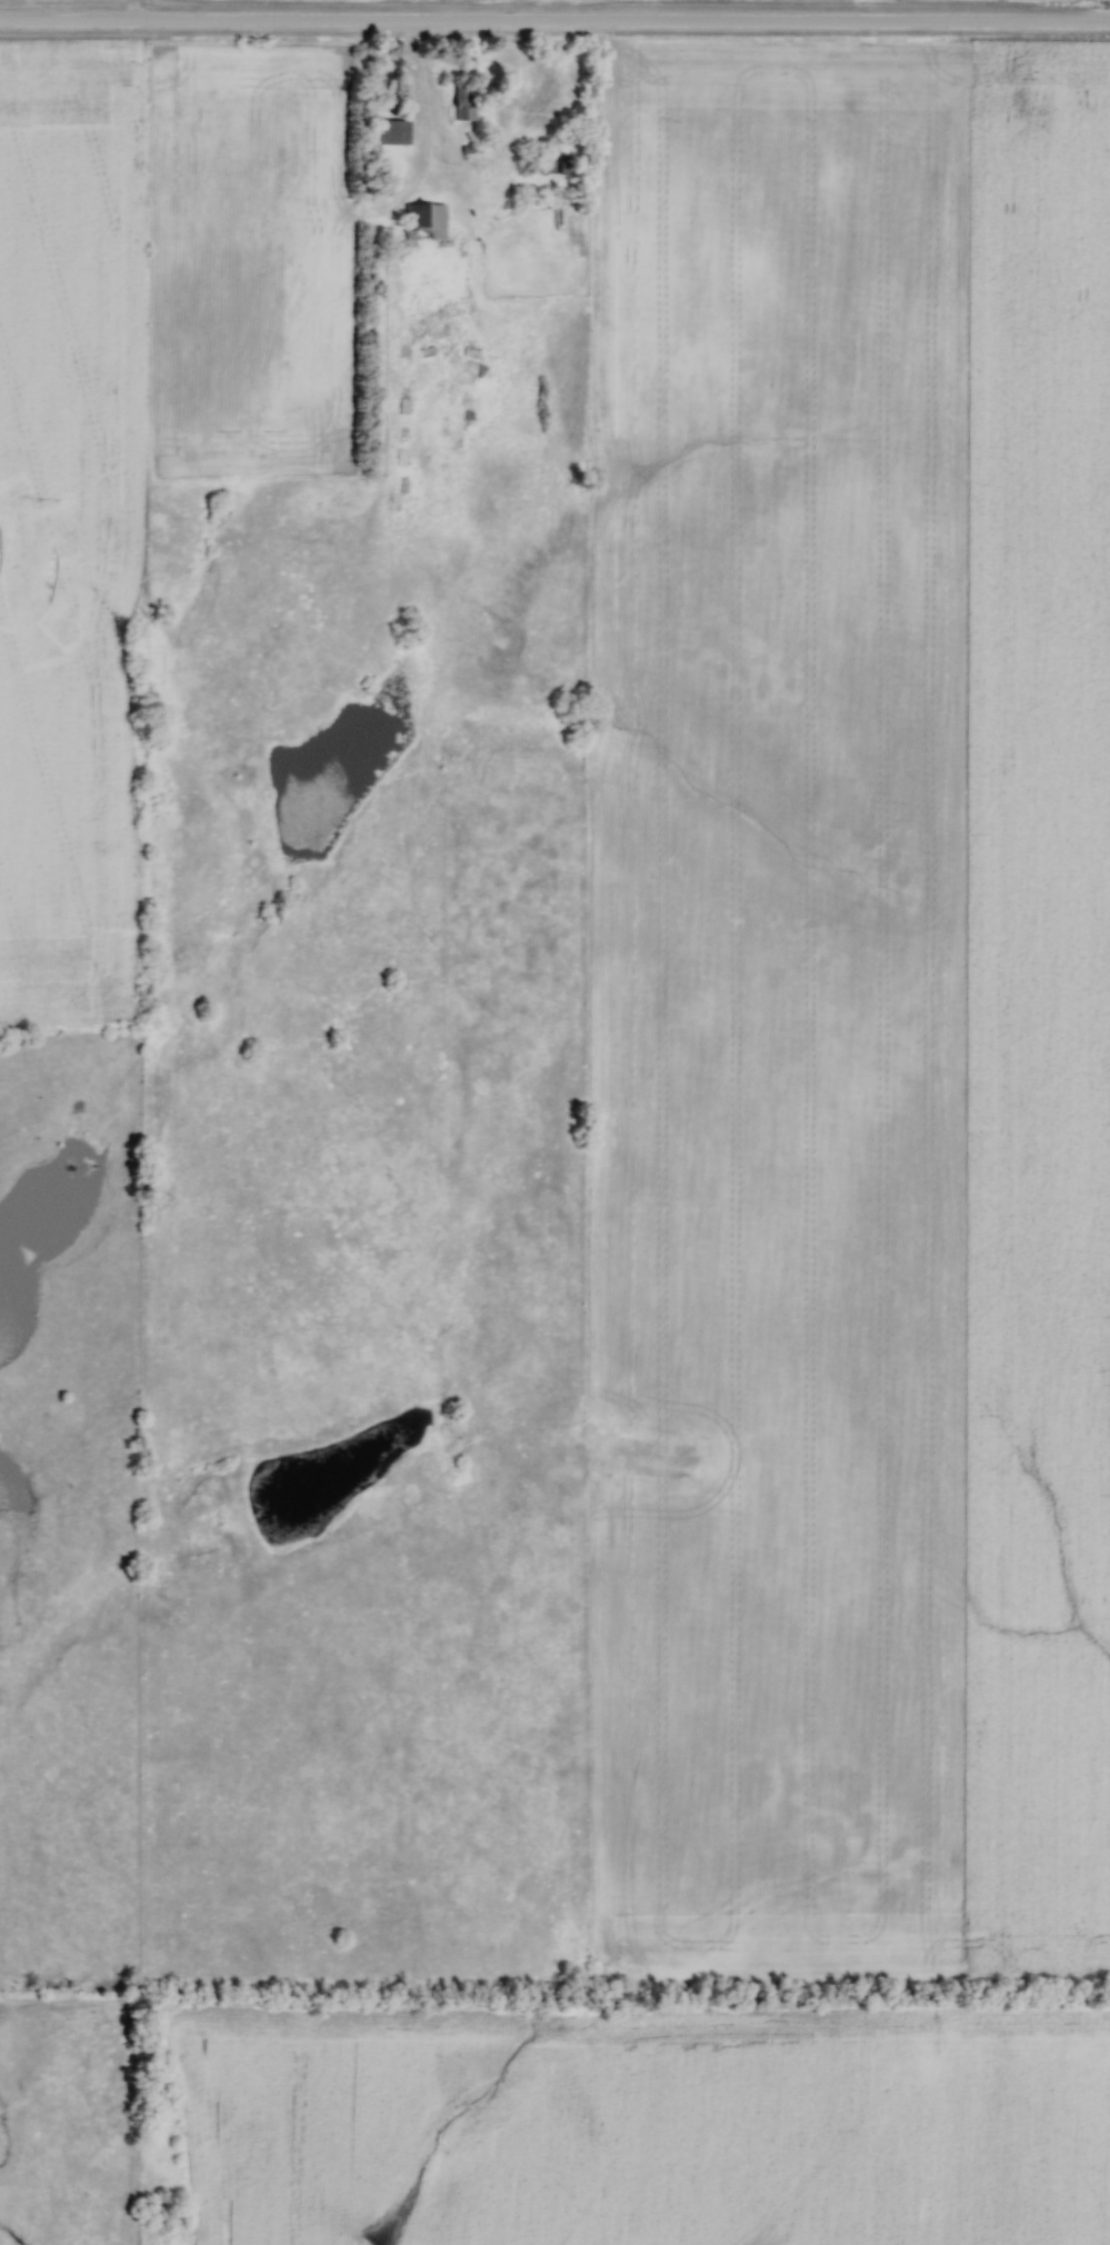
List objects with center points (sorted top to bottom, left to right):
road: (554, 24)
building: (467, 103)
road: (416, 104)
building: (396, 131)
building: (428, 219)

